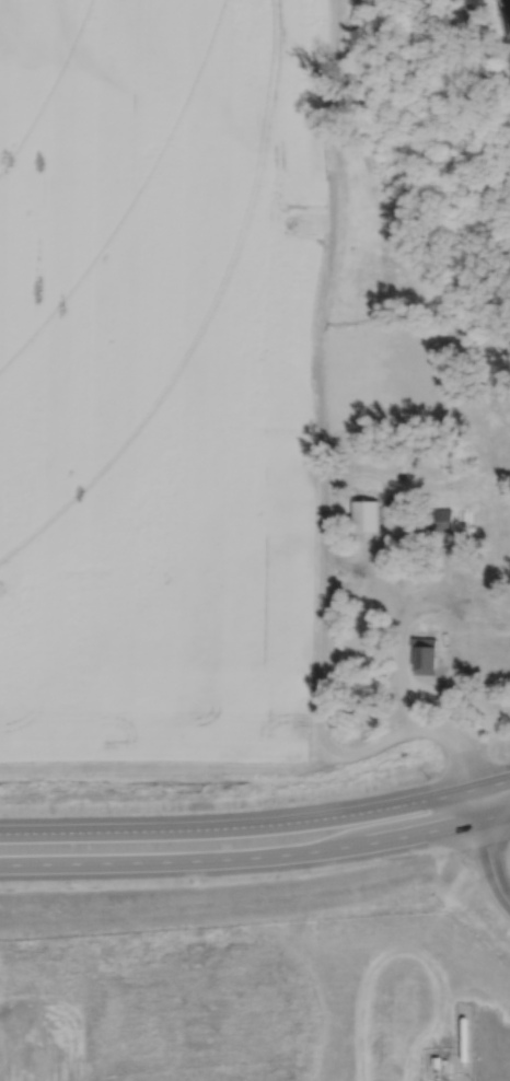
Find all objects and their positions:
crop: (159, 376)
road: (317, 422)
building: (471, 505)
building: (366, 514)
building: (432, 520)
road: (386, 596)
building: (424, 655)
building: (390, 695)
road: (257, 825)
road: (486, 847)
road: (256, 856)
road: (449, 993)
building: (507, 1007)
road: (503, 1010)
building: (51, 1027)
building: (204, 1035)
building: (462, 1036)
building: (434, 1060)
building: (443, 1060)

